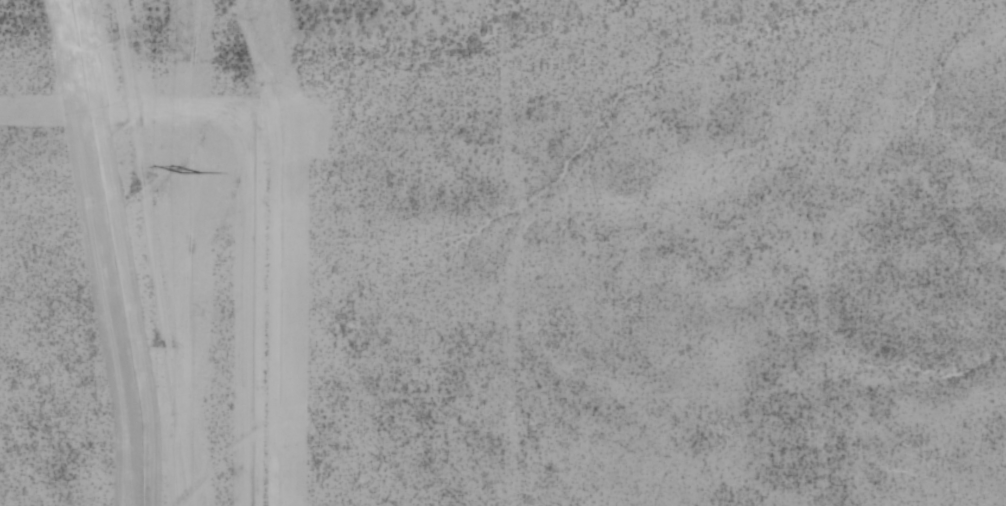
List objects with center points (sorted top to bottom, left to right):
power tower: (183, 170)

